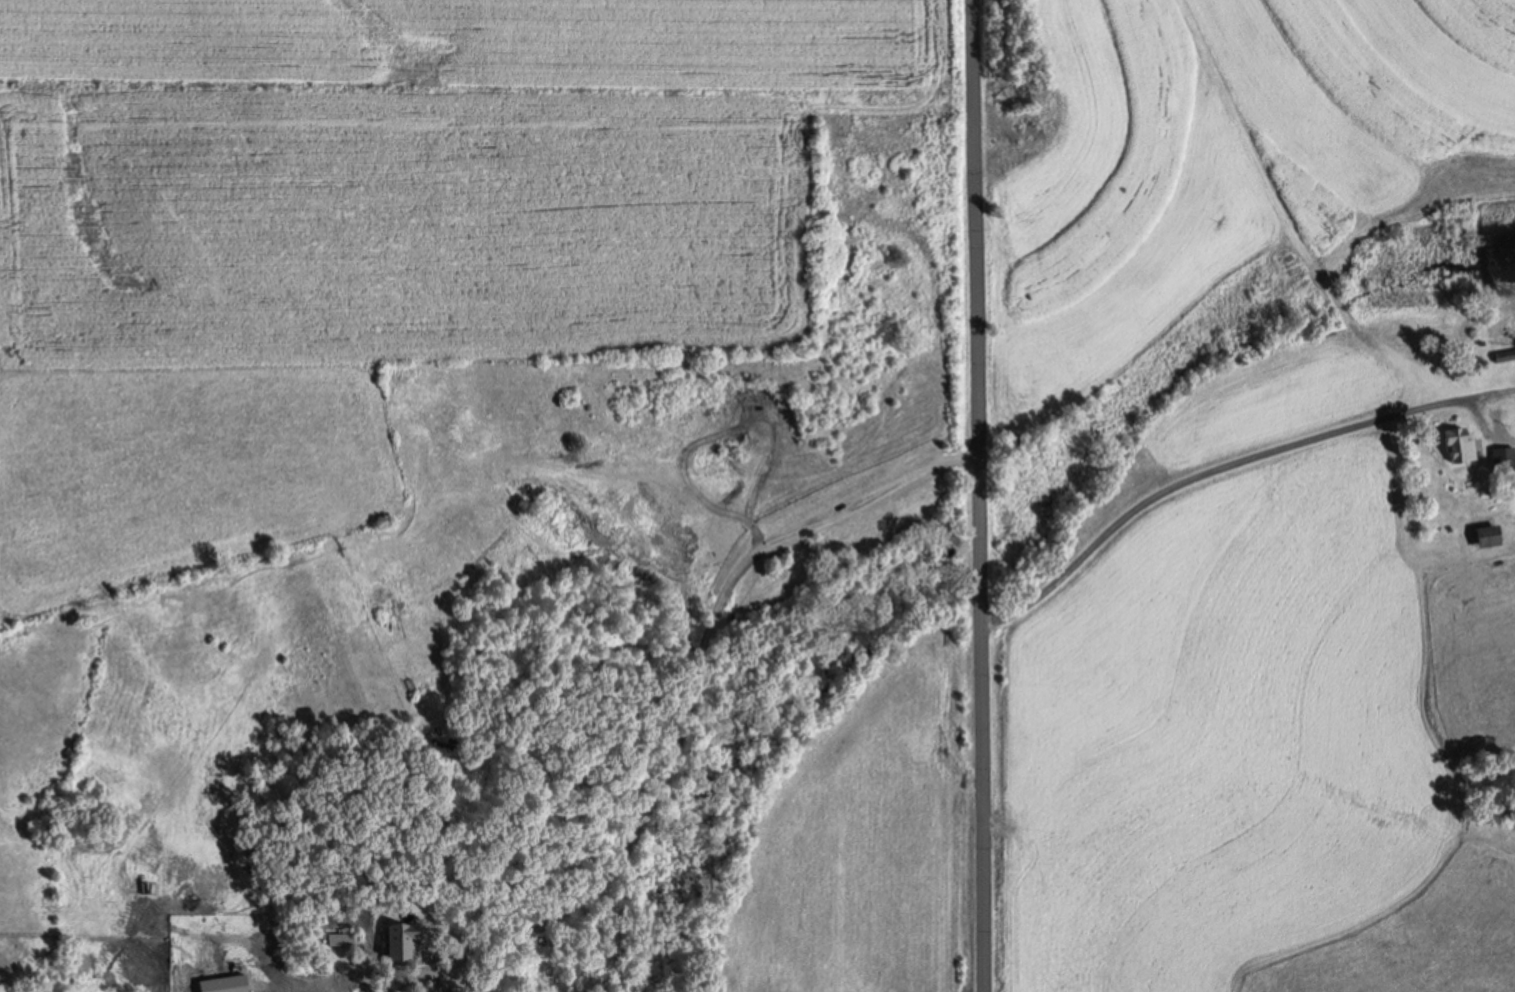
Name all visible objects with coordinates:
building: (1503, 355)
building: (1461, 444)
building: (1502, 459)
road: (1228, 464)
road: (979, 495)
building: (1486, 536)
road: (695, 699)
building: (398, 943)

